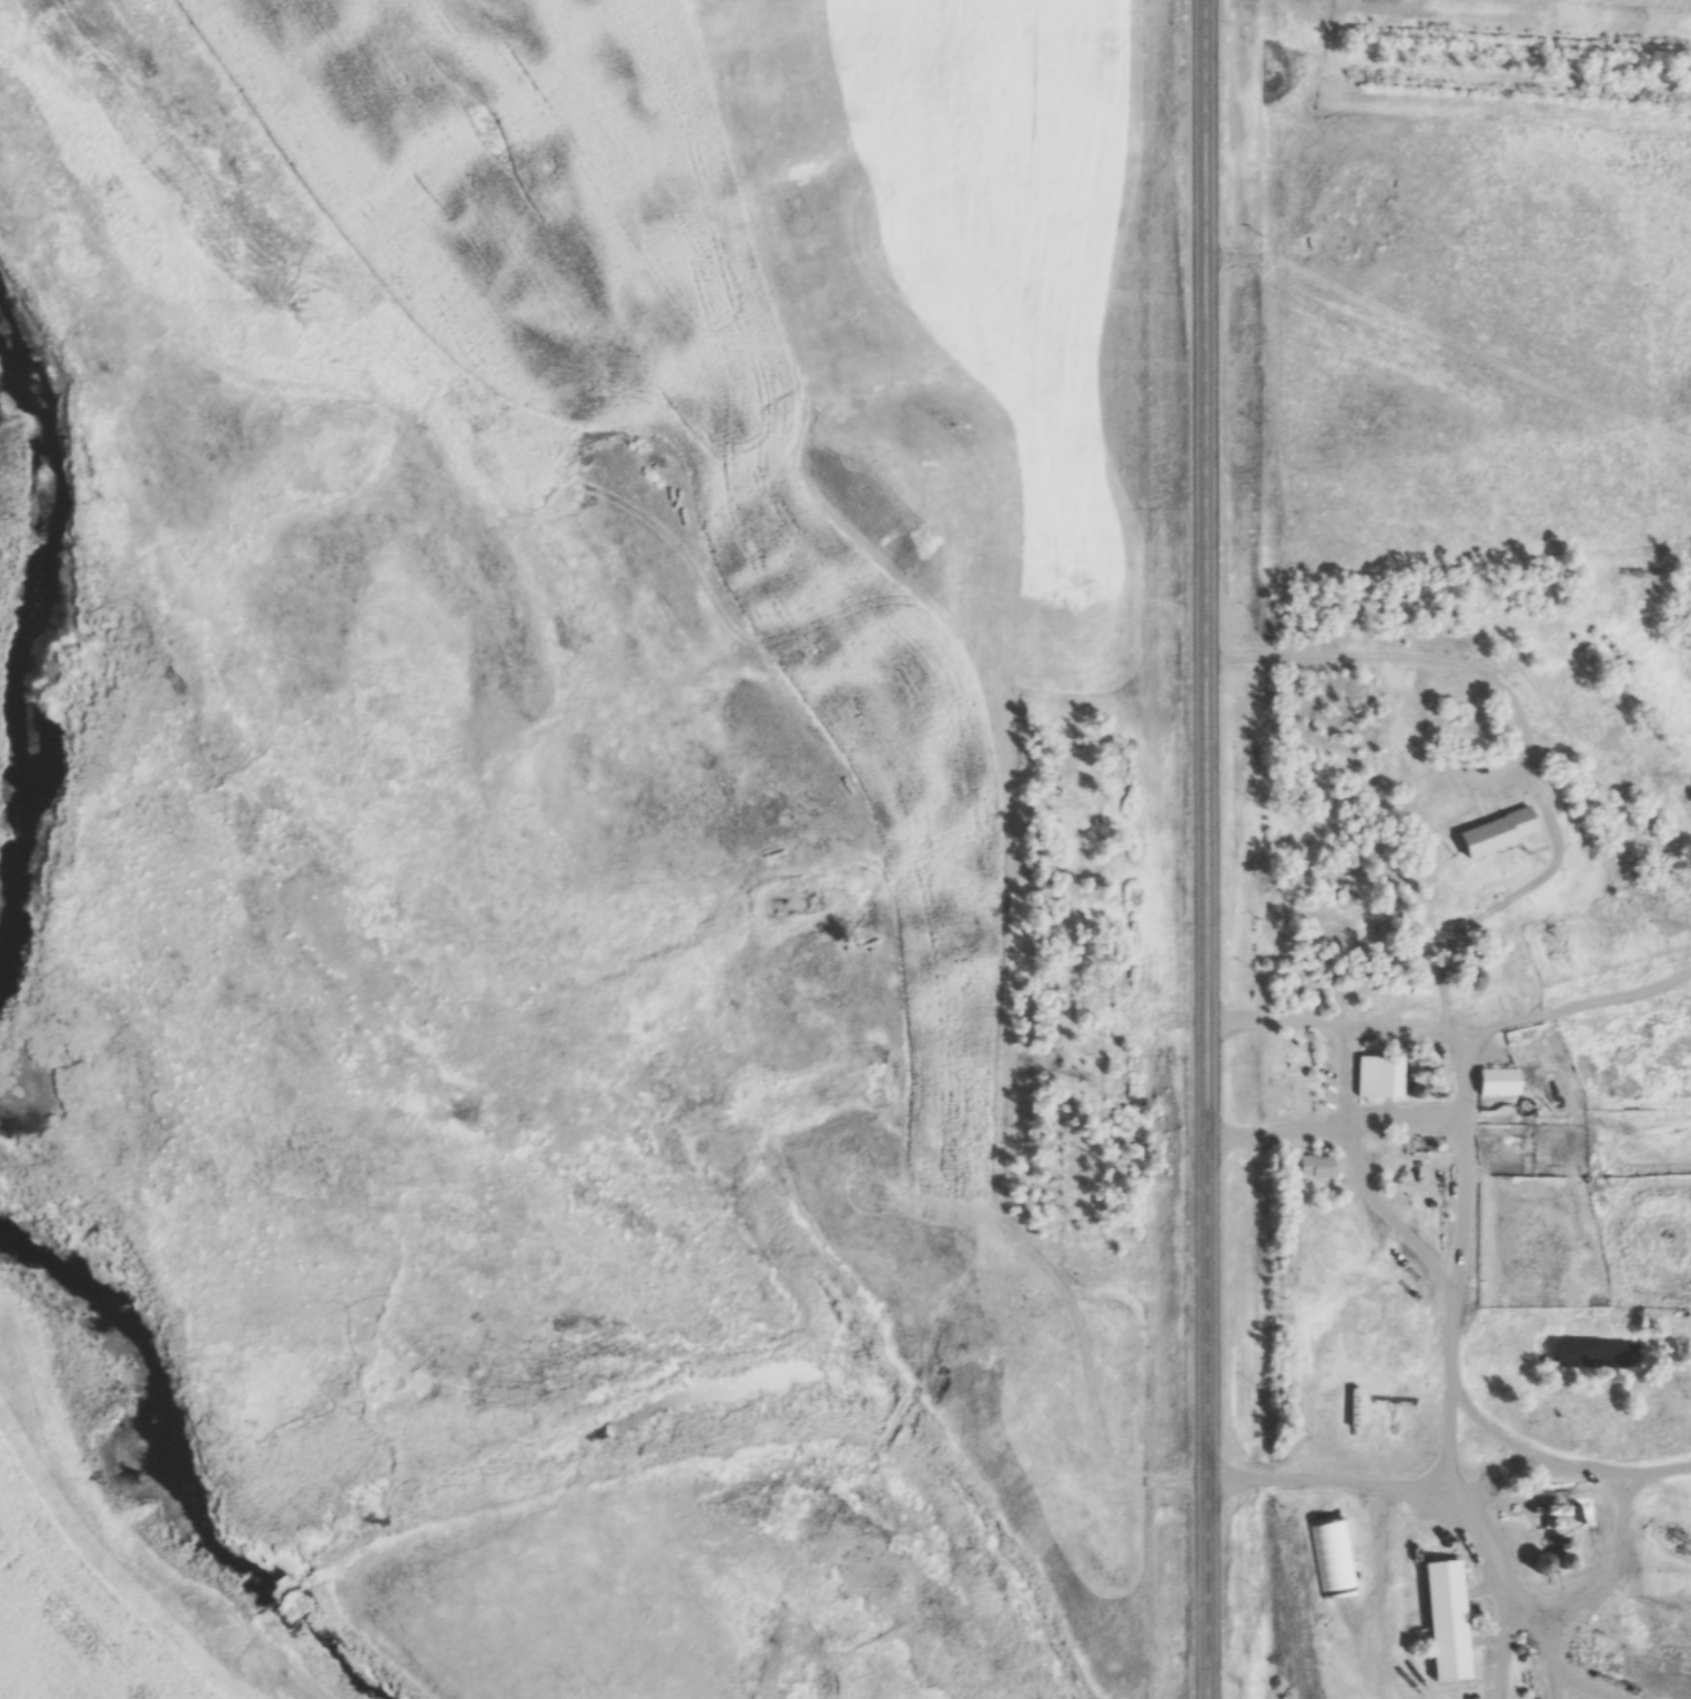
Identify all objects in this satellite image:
road: (1203, 849)
building: (1474, 980)
building: (1410, 987)
building: (1388, 1075)
building: (1499, 1080)
road: (1334, 1122)
building: (1316, 1164)
road: (1361, 1172)
road: (1458, 1246)
road: (1617, 1567)
building: (1447, 1619)

